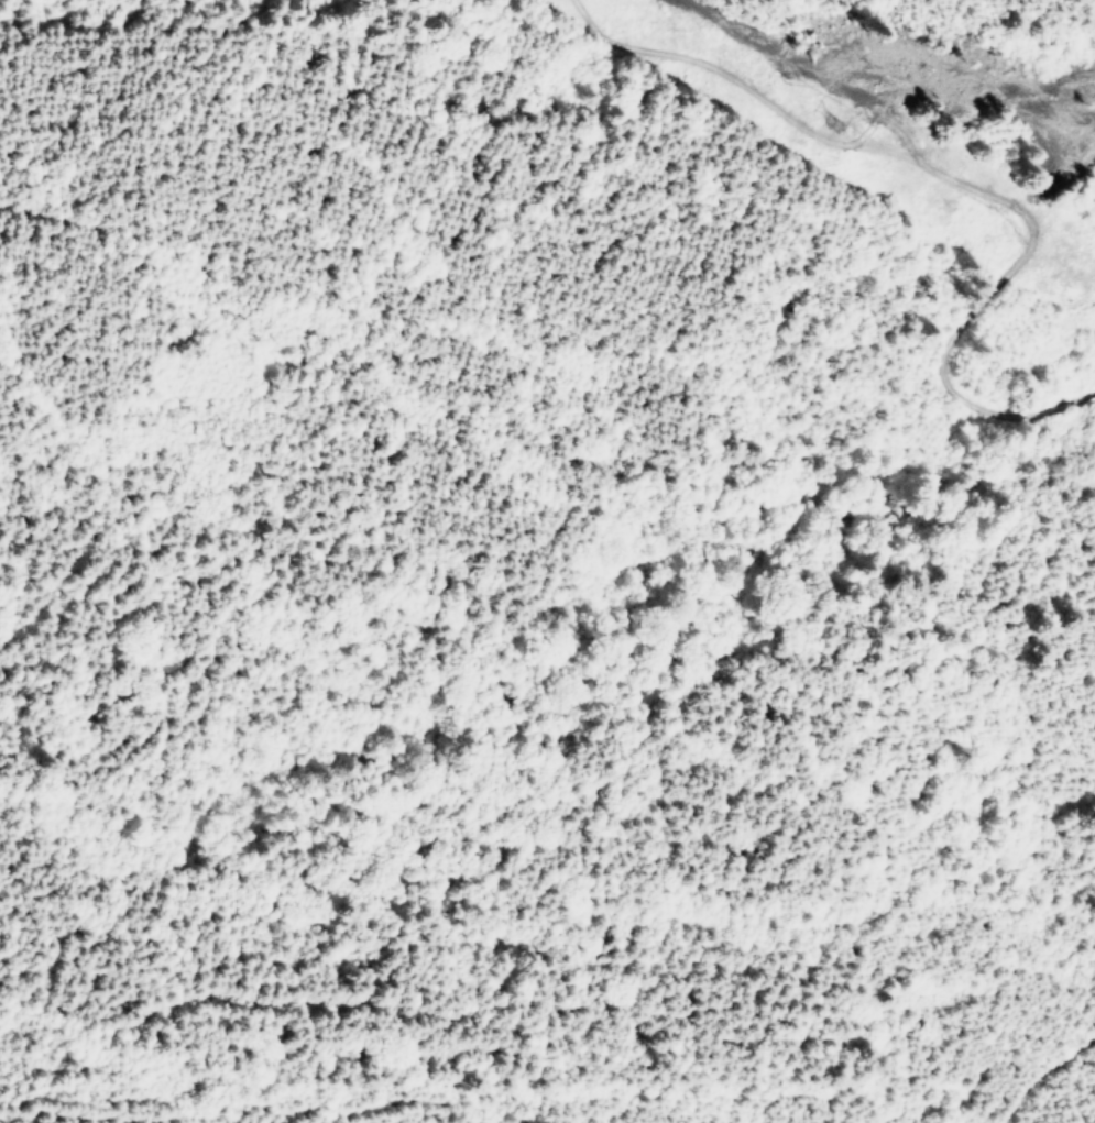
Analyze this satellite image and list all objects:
power tower: (829, 114)
road: (1033, 1058)

